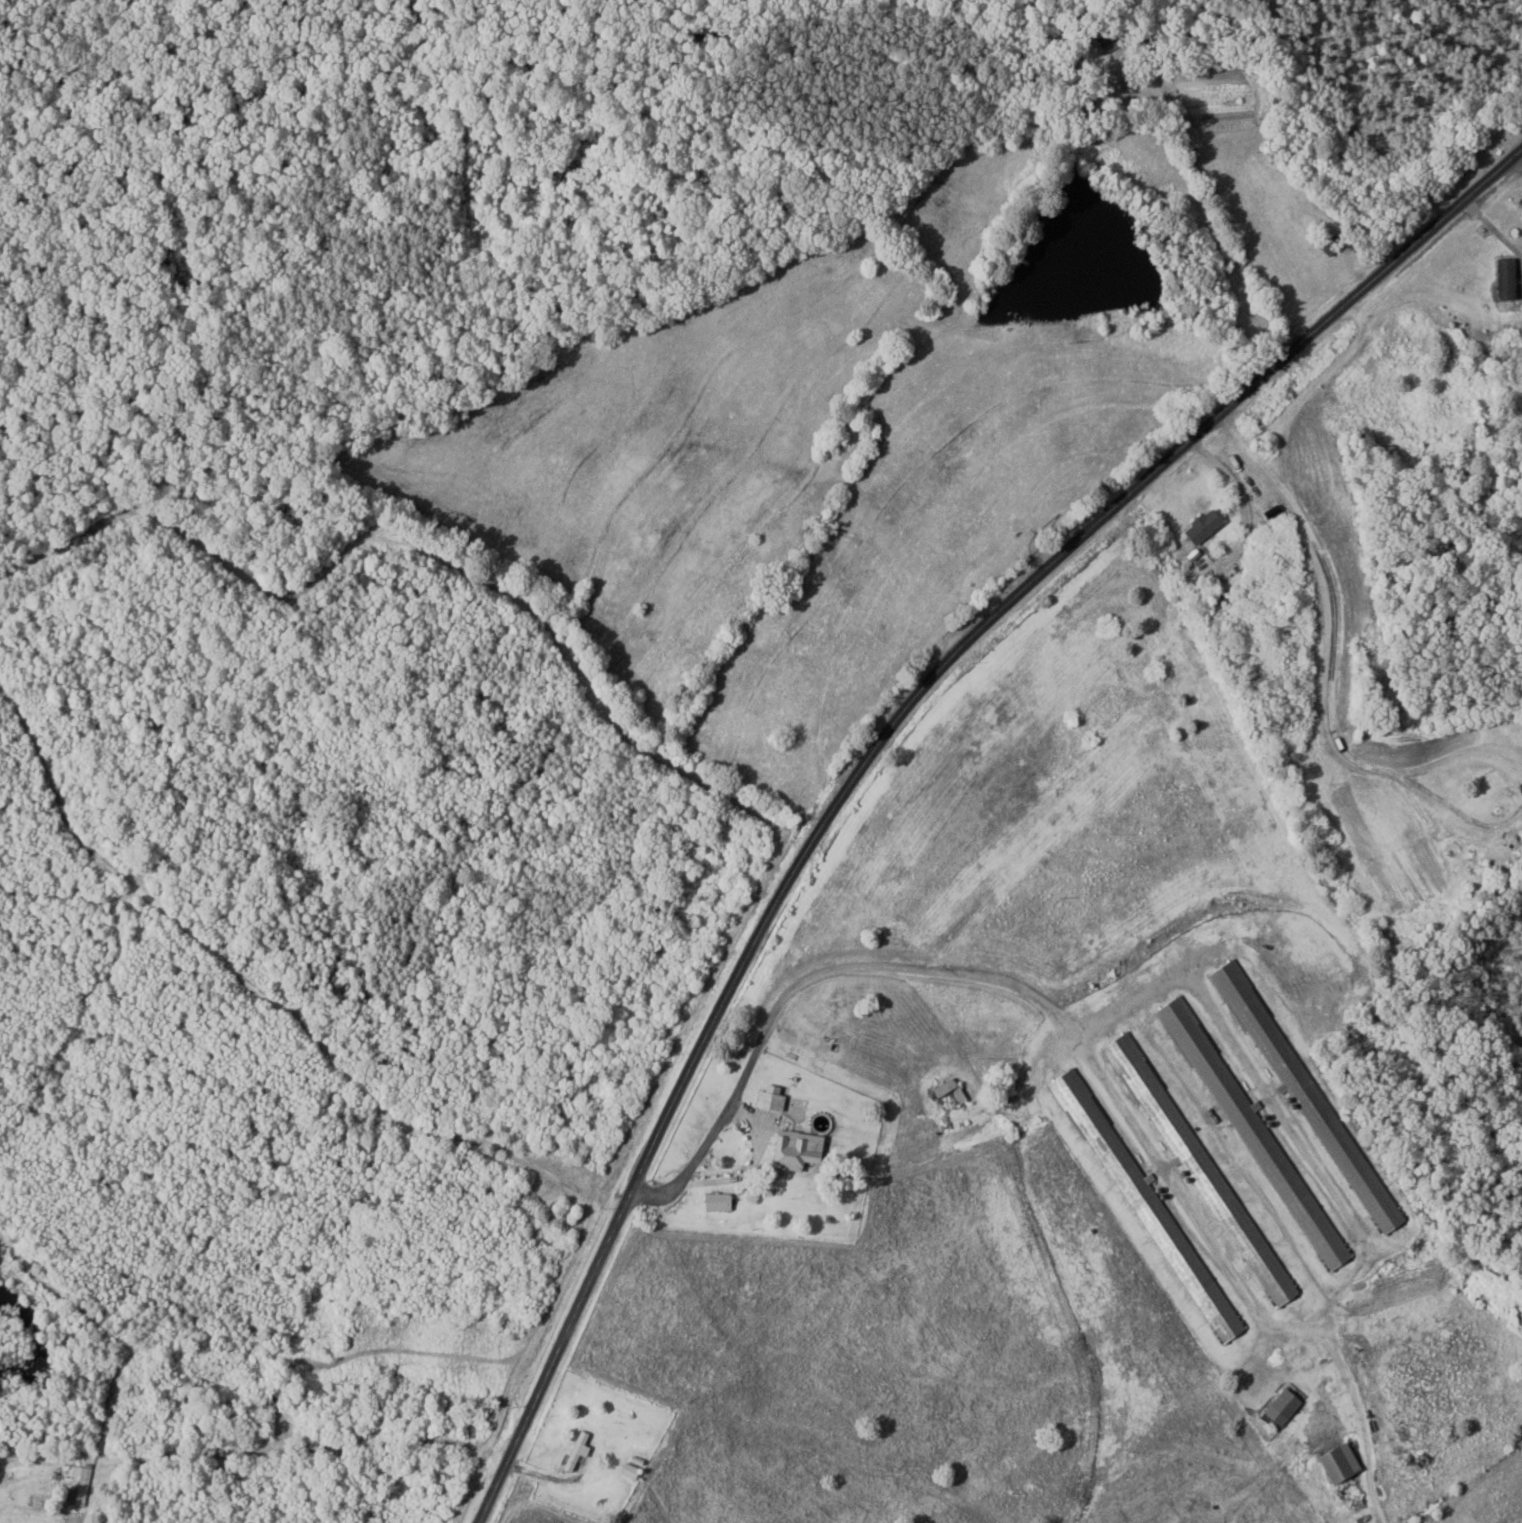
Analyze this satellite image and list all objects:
building: (1502, 278)
road: (1477, 284)
building: (1199, 526)
road: (877, 742)
building: (1300, 1088)
building: (946, 1094)
building: (767, 1099)
building: (1256, 1140)
road: (756, 1149)
building: (791, 1149)
building: (1192, 1159)
building: (714, 1201)
building: (1150, 1215)
building: (1279, 1406)
building: (574, 1450)
building: (1334, 1461)
building: (627, 1470)
building: (77, 1485)

